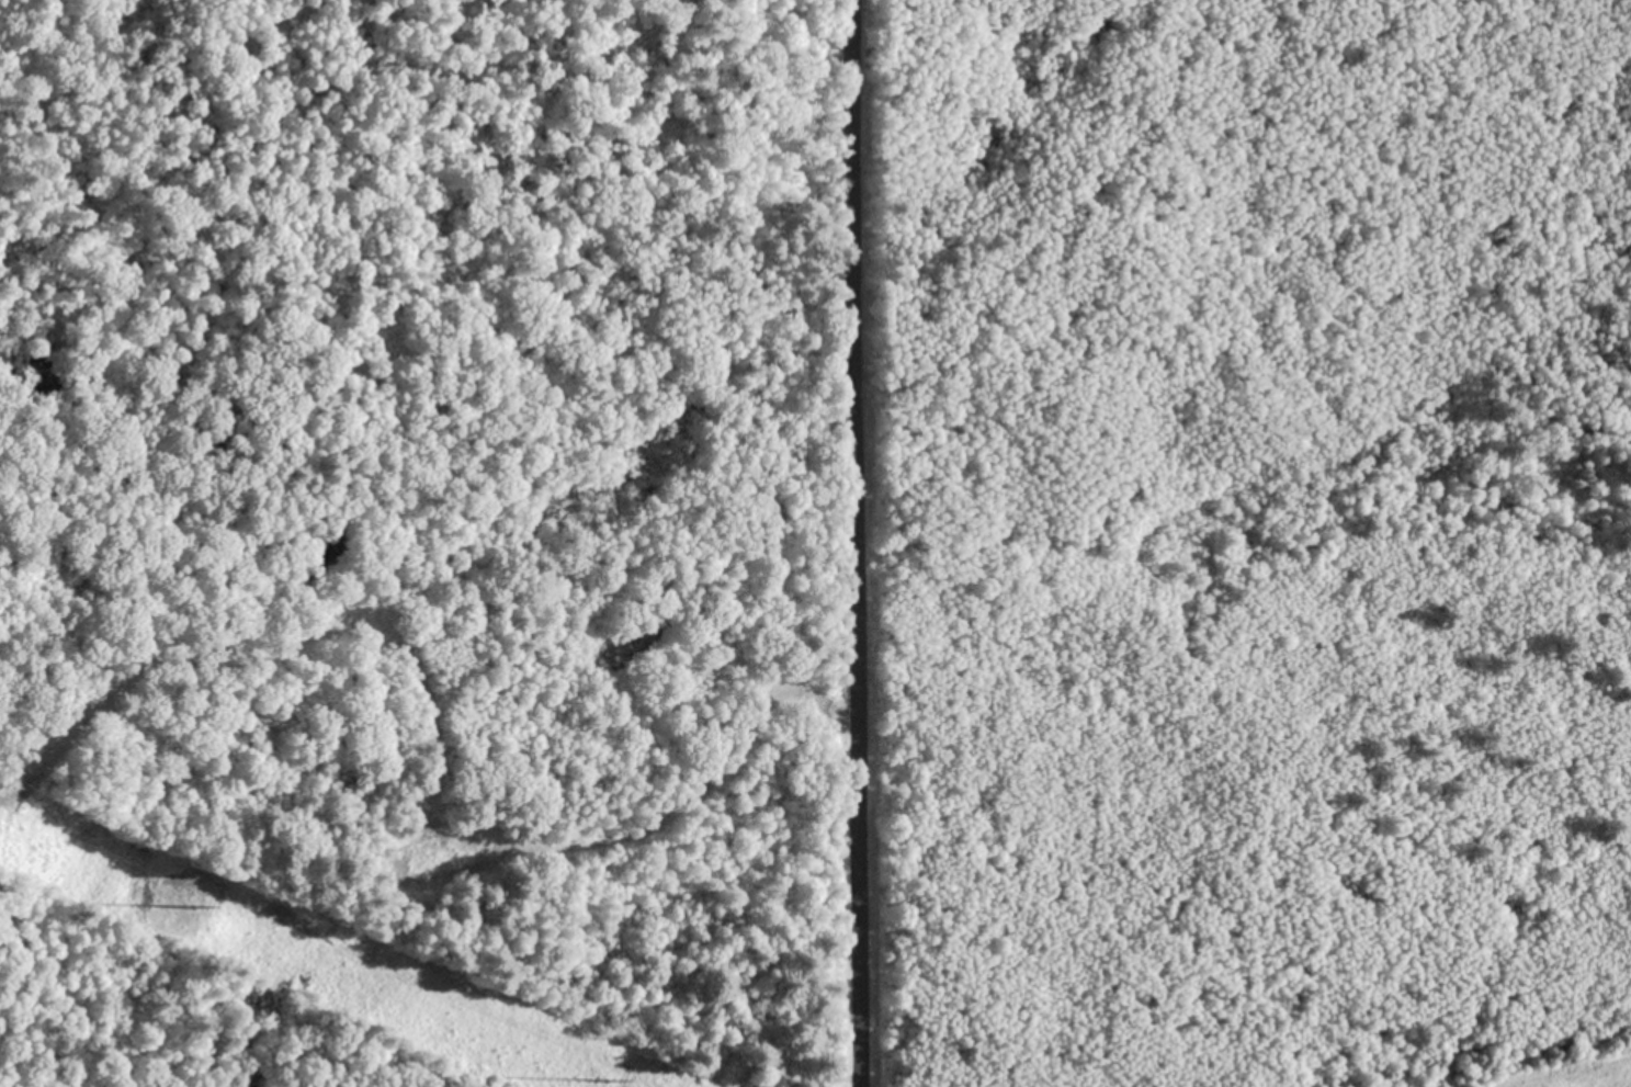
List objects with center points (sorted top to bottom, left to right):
road: (859, 543)
power tower: (192, 903)
power tower: (608, 1079)

